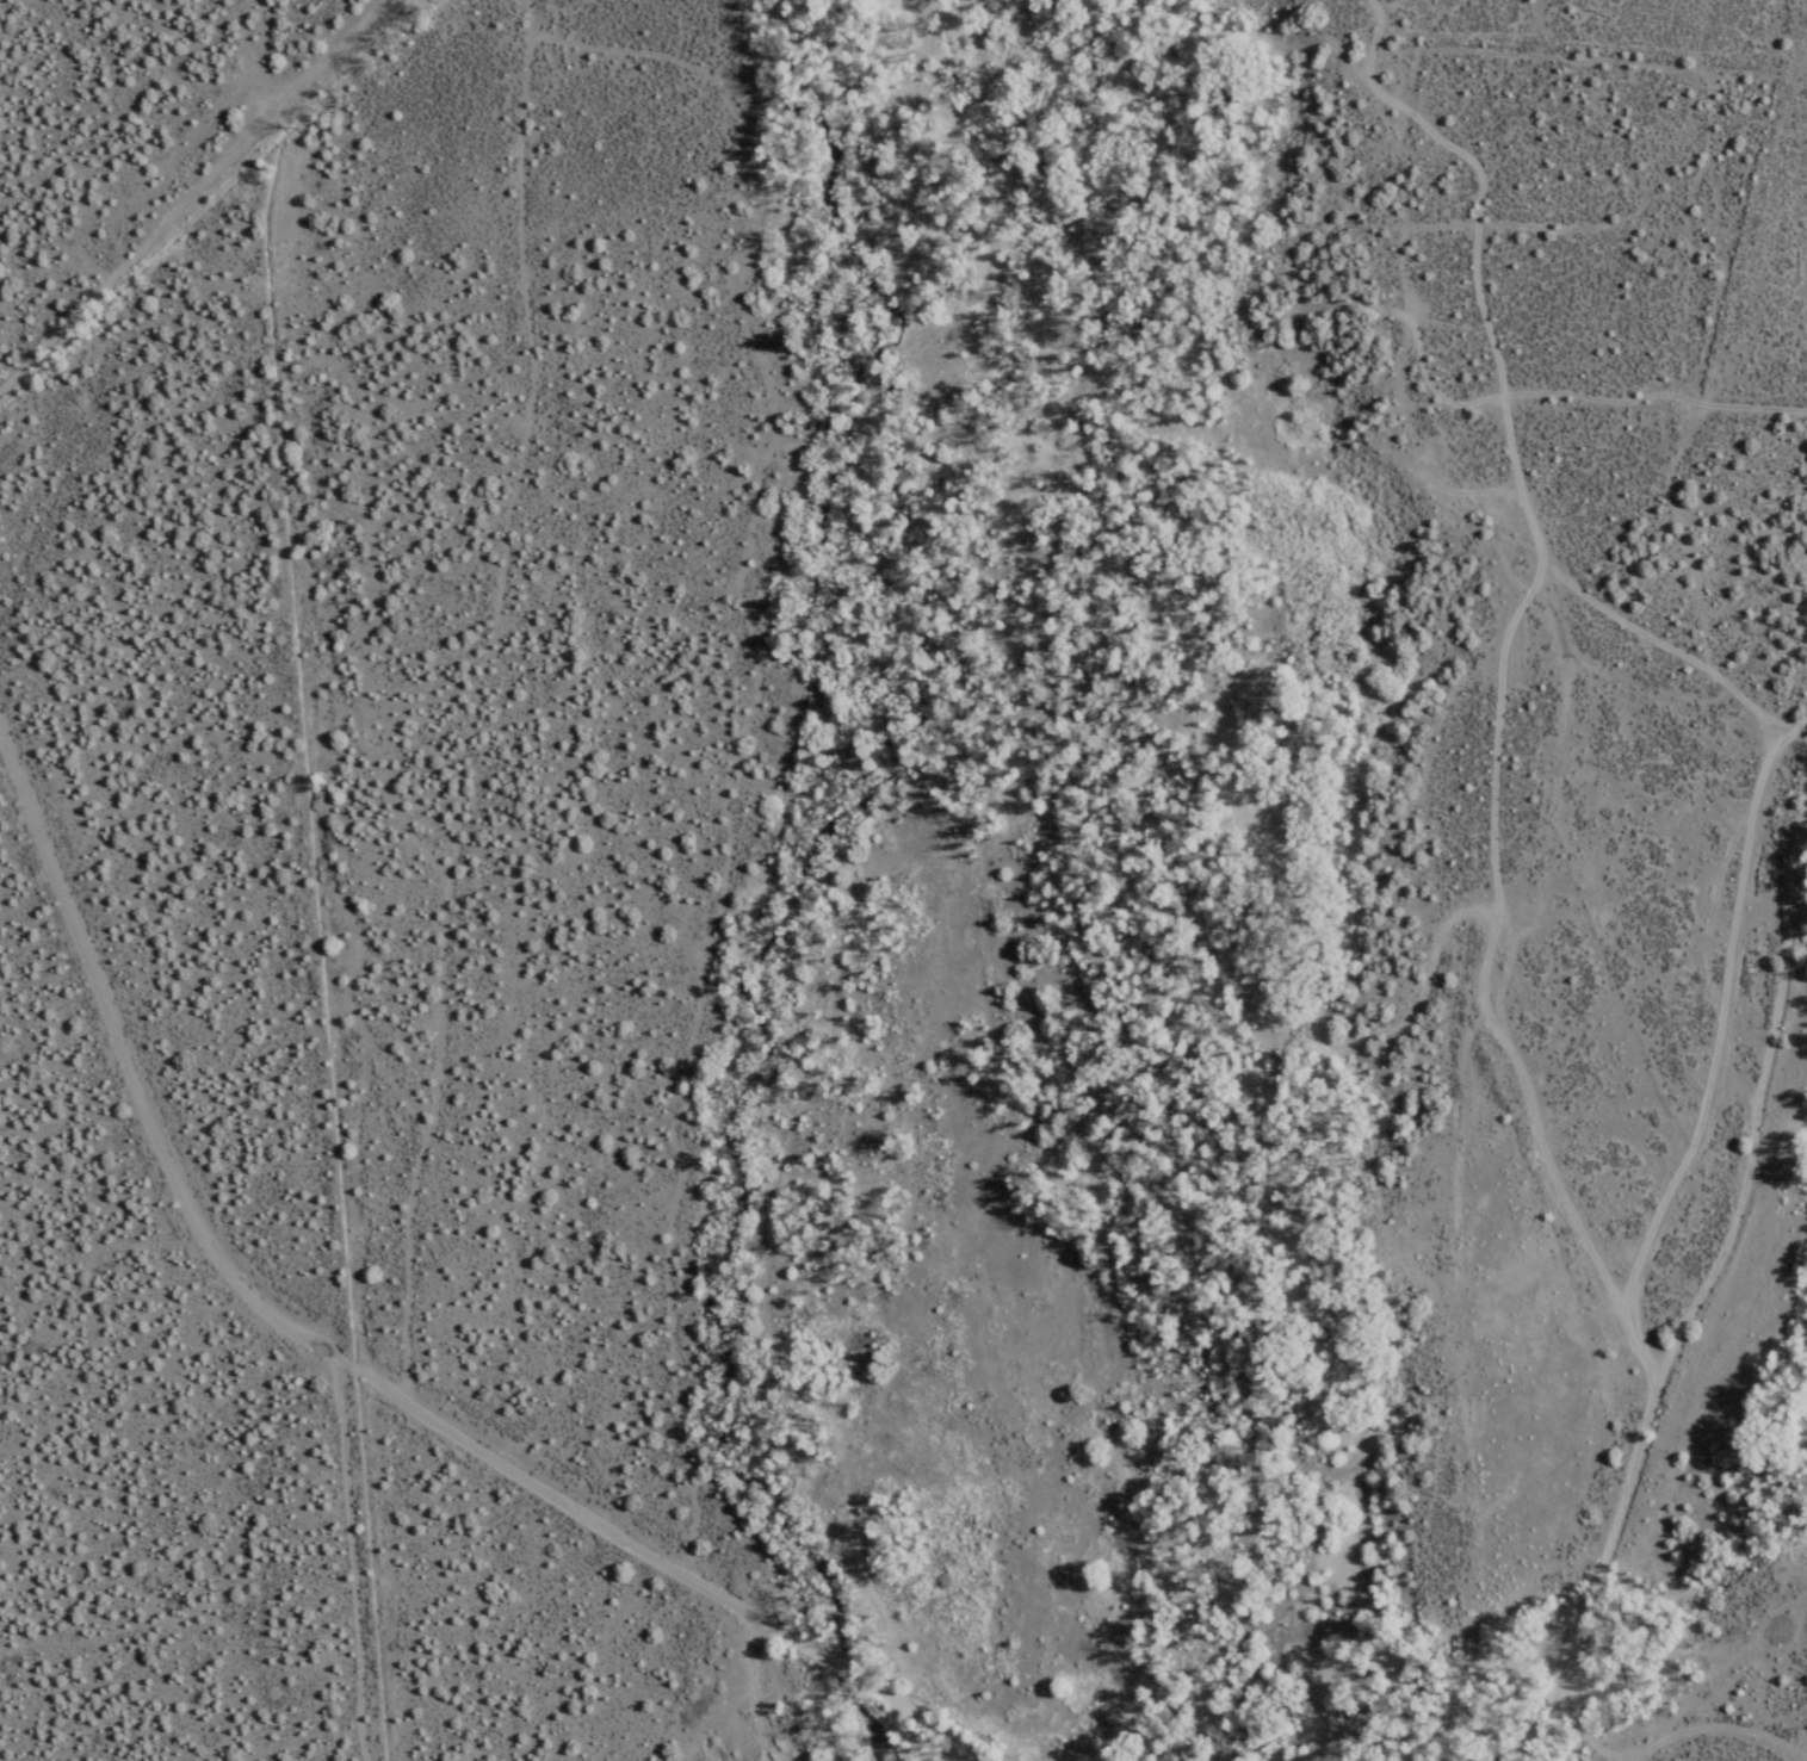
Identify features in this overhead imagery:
road: (172, 201)
road: (453, 692)
road: (125, 1137)
road: (1671, 1210)
road: (565, 1281)
road: (1727, 1331)
road: (341, 1382)
road: (673, 1574)

